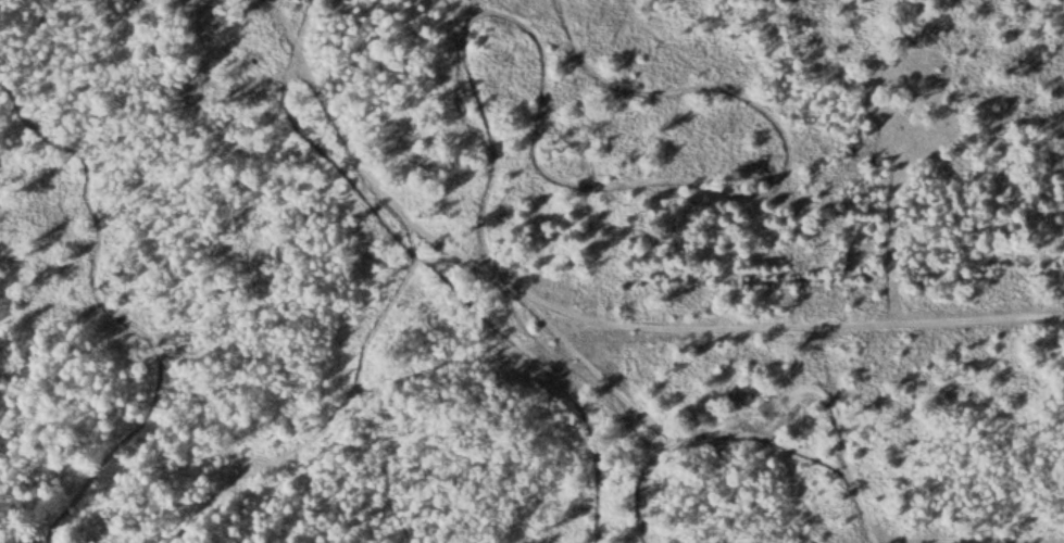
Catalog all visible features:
road: (221, 83)
road: (593, 318)
road: (766, 402)
road: (772, 440)

